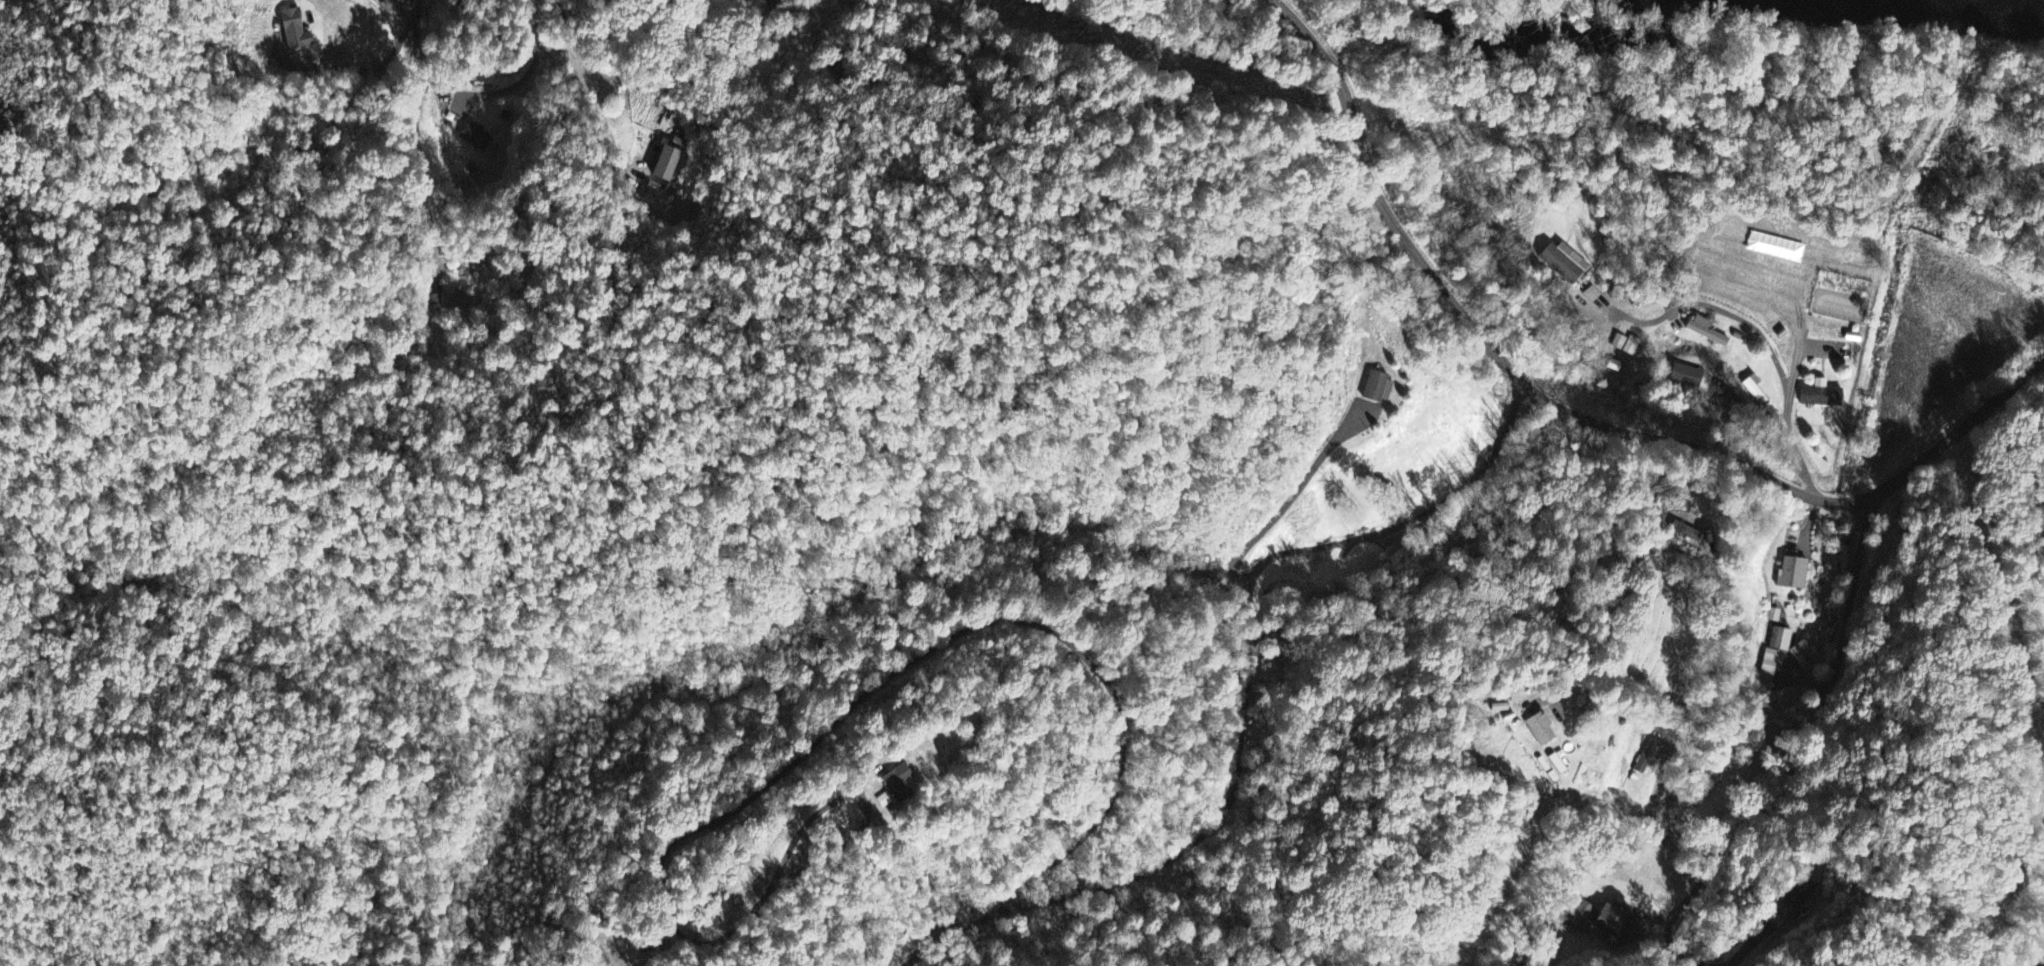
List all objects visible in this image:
river: (1942, 6)
building: (291, 30)
building: (476, 138)
building: (667, 164)
building: (1564, 264)
building: (455, 299)
building: (1704, 332)
building: (1625, 346)
road: (1777, 356)
building: (1613, 367)
building: (1686, 377)
building: (1377, 389)
building: (1819, 396)
road: (1578, 419)
building: (1793, 575)
road: (1712, 621)
park: (1648, 630)
building: (1781, 641)
building: (1769, 670)
road: (1818, 725)
building: (1539, 731)
building: (1648, 758)
building: (1552, 767)
building: (896, 784)
building: (883, 801)
building: (1802, 894)
building: (1599, 919)

